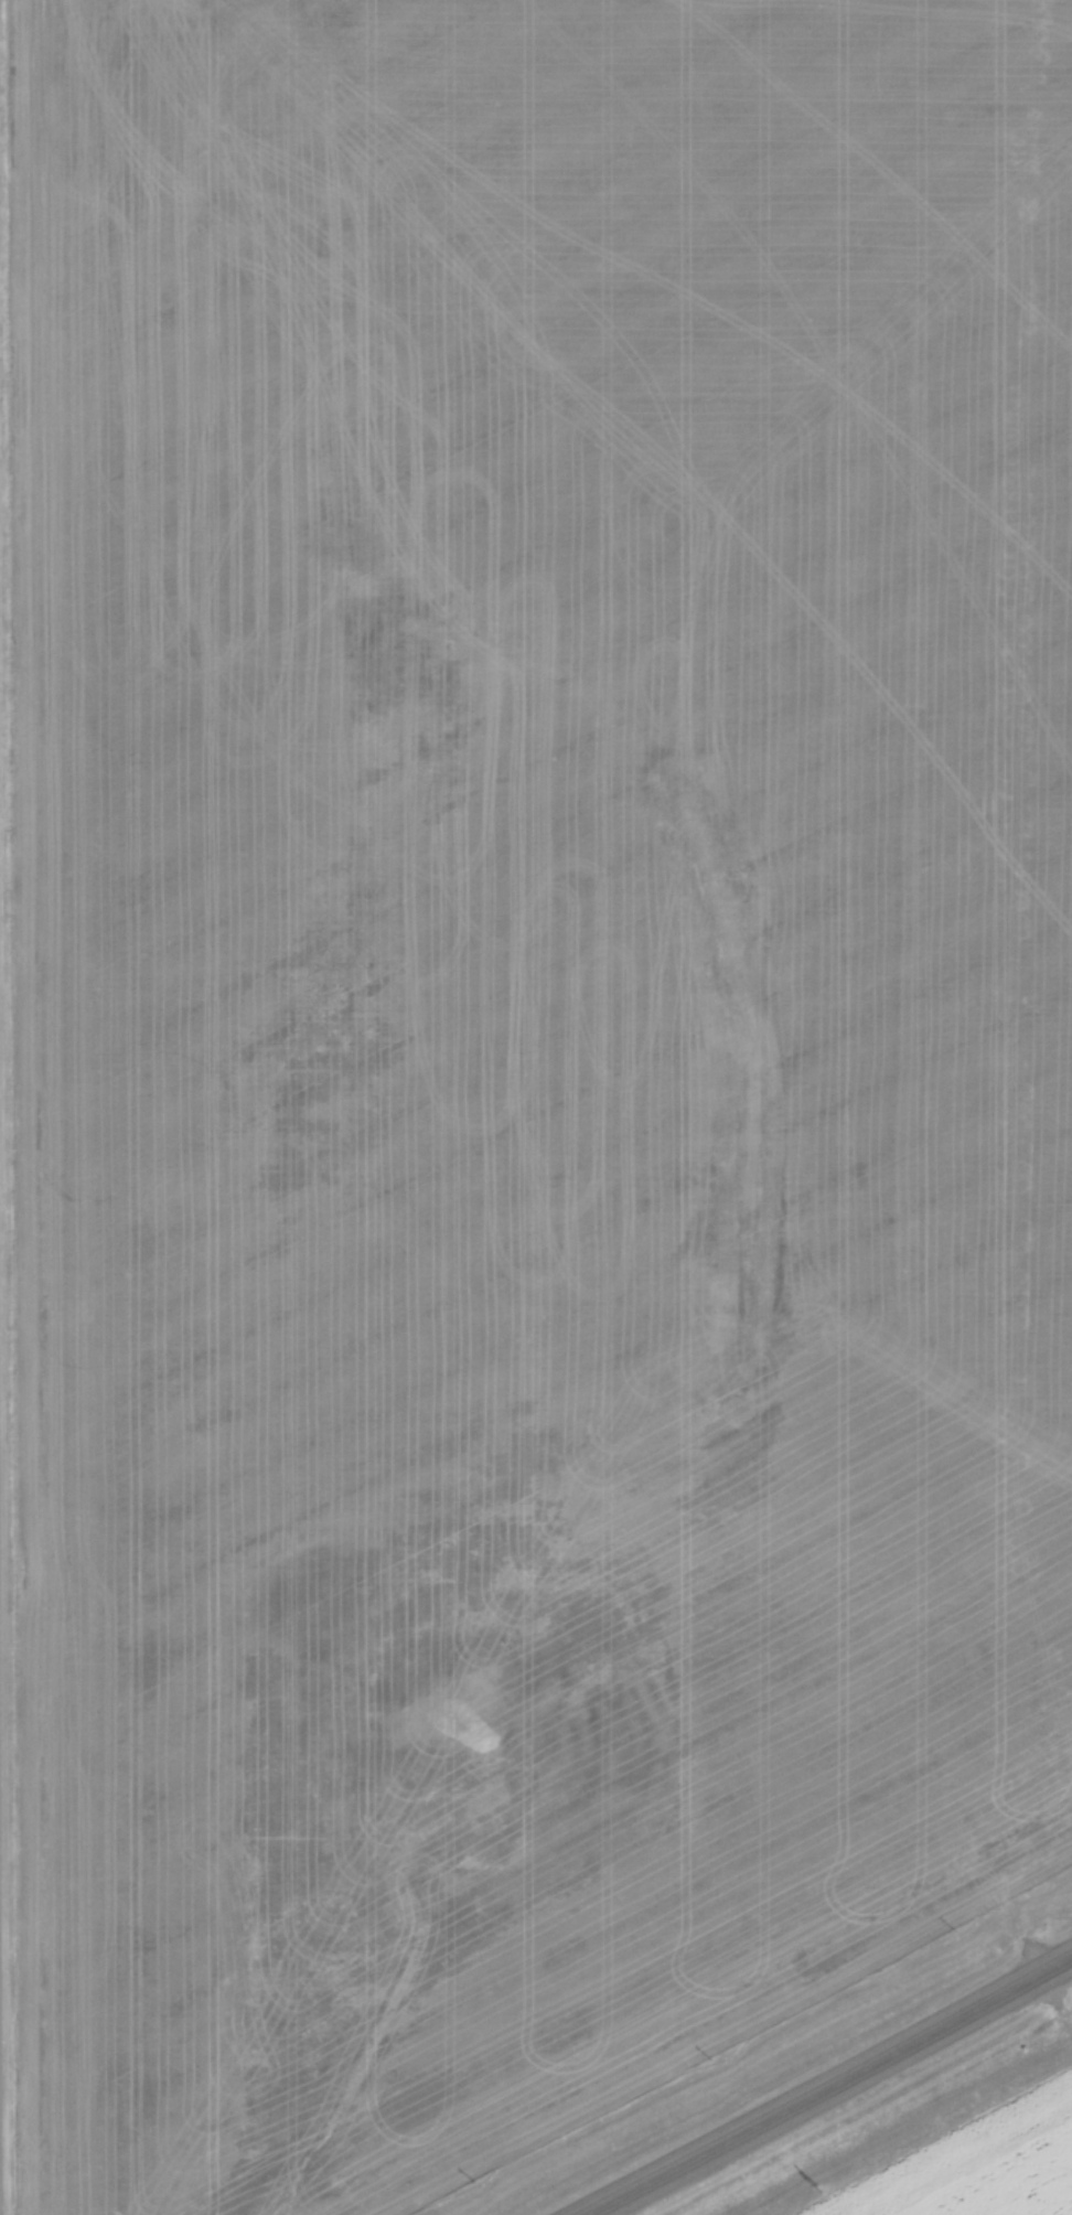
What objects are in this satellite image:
road: (833, 2088)

